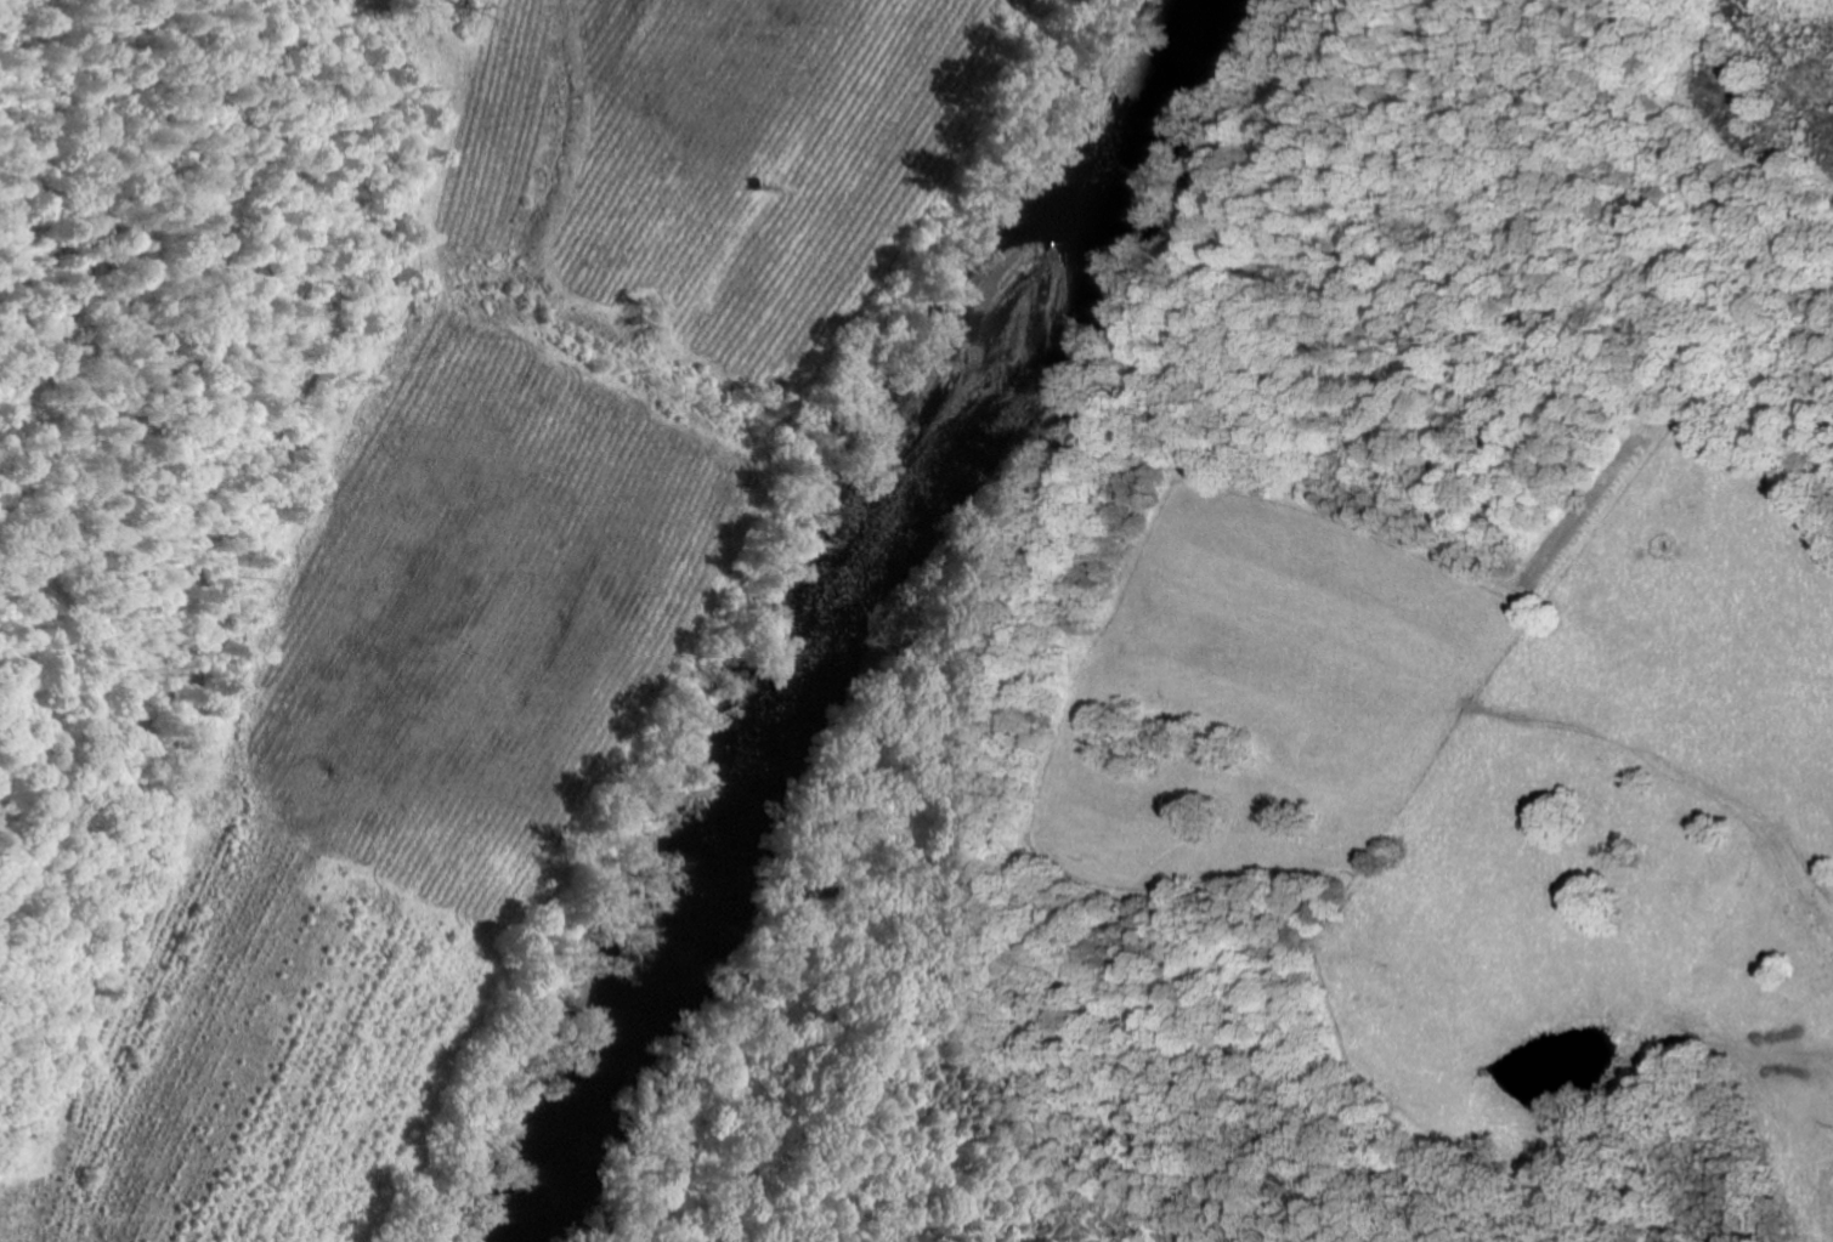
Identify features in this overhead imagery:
river: (837, 612)

